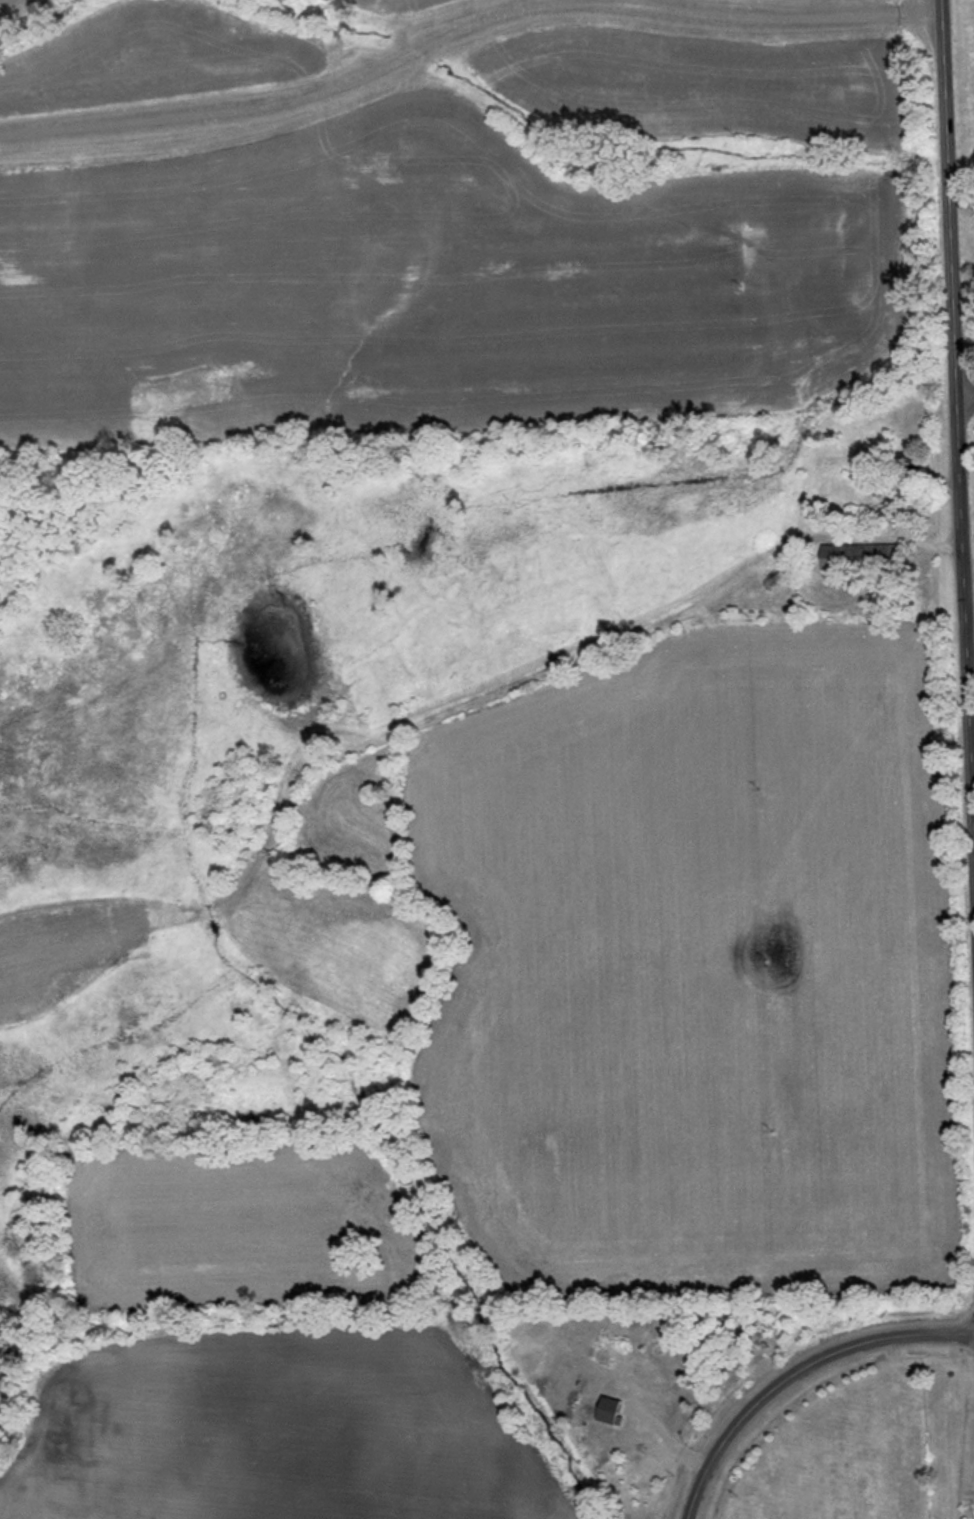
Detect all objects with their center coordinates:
road: (466, 36)
road: (957, 367)
road: (966, 395)
building: (908, 465)
building: (878, 513)
building: (861, 556)
road: (798, 1373)
building: (608, 1408)

